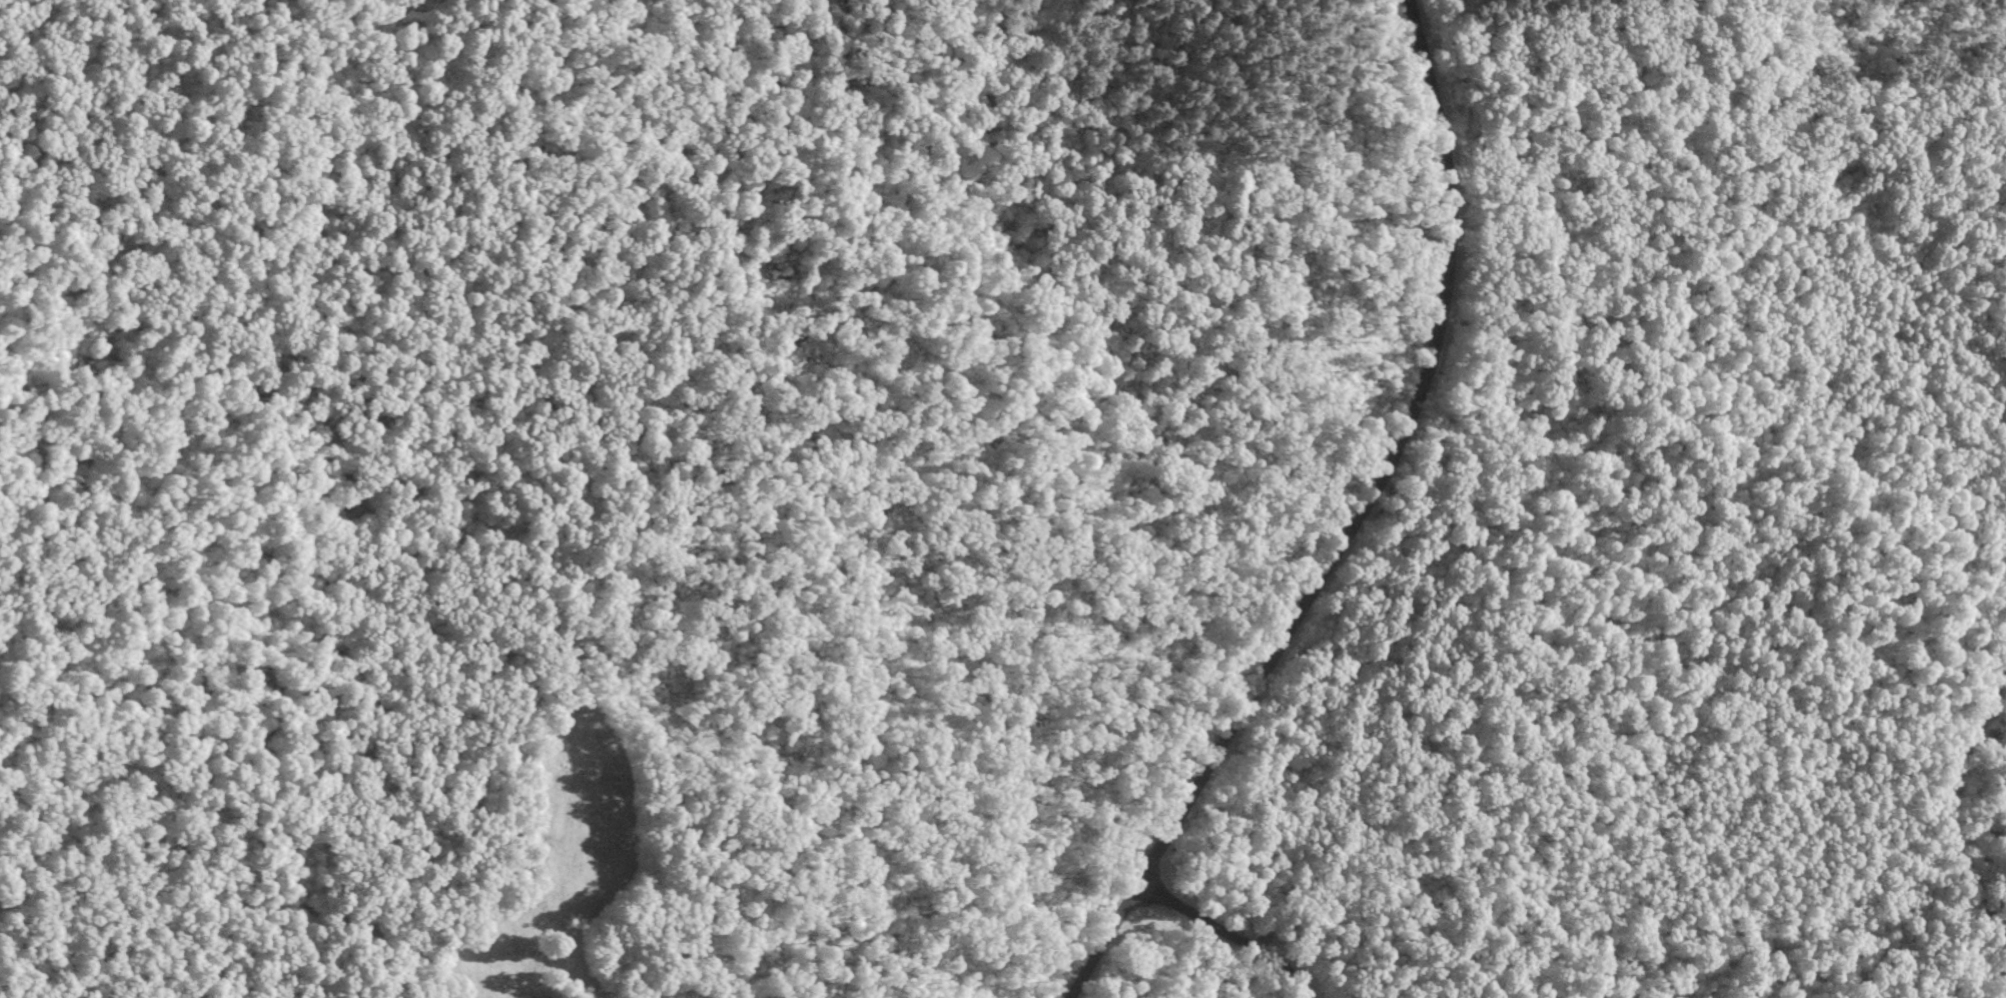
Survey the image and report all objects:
road: (1355, 528)
road: (1953, 829)
road: (1225, 936)

